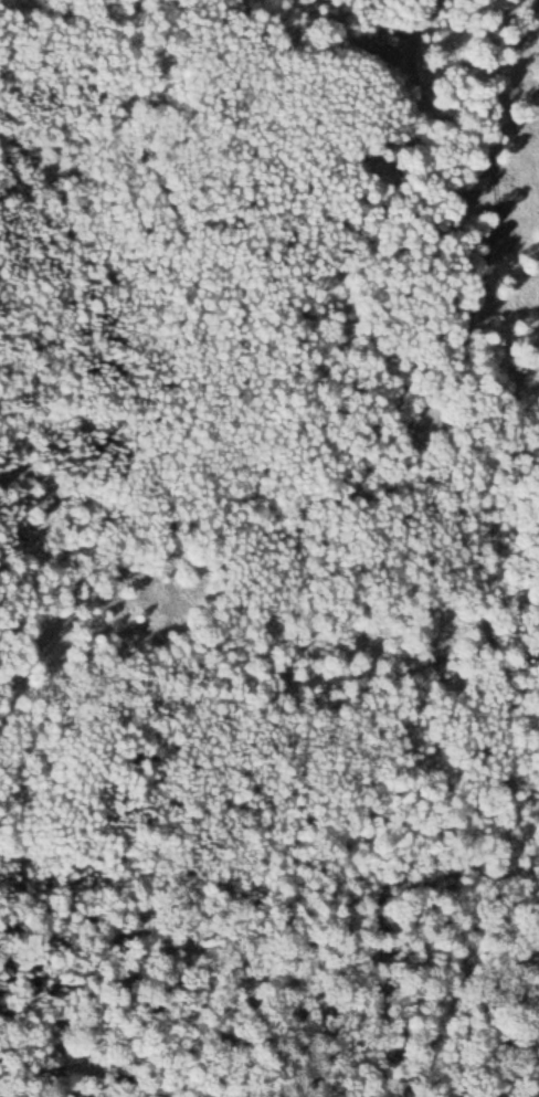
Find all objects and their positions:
road: (420, 563)

